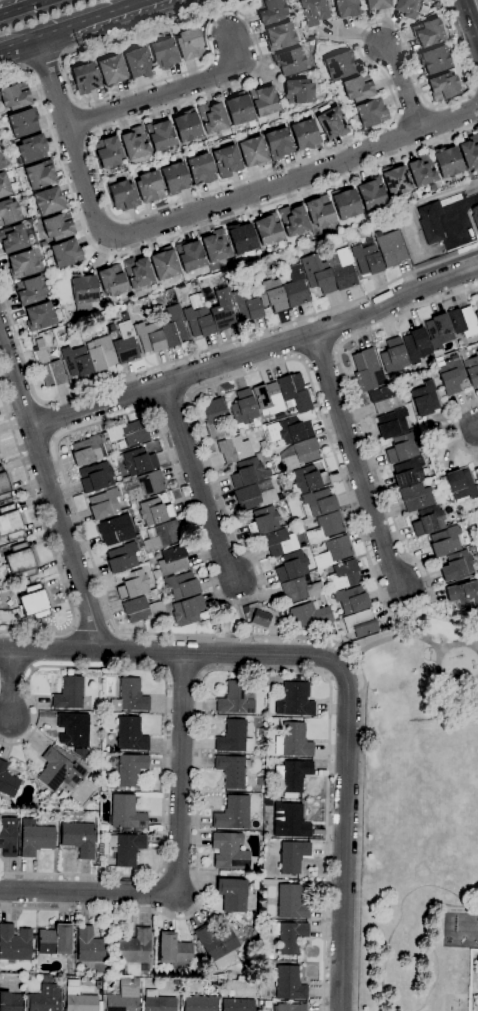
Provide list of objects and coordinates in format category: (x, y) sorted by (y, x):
building: (375, 5)
road: (23, 7)
building: (346, 8)
building: (407, 8)
building: (423, 10)
building: (269, 11)
building: (312, 11)
road: (471, 17)
road: (72, 24)
building: (427, 33)
building: (279, 37)
building: (189, 45)
building: (163, 54)
building: (433, 60)
building: (289, 61)
building: (138, 63)
road: (43, 64)
building: (338, 66)
building: (111, 71)
building: (85, 78)
road: (404, 86)
building: (357, 87)
building: (442, 87)
building: (298, 91)
road: (168, 92)
building: (15, 96)
road: (475, 100)
building: (262, 101)
building: (238, 108)
building: (370, 113)
building: (211, 117)
building: (20, 122)
building: (331, 122)
building: (186, 126)
building: (304, 134)
building: (159, 135)
building: (134, 143)
building: (277, 143)
building: (11, 145)
building: (30, 150)
building: (469, 151)
building: (107, 152)
building: (252, 152)
building: (226, 161)
building: (446, 161)
building: (1, 162)
building: (200, 169)
building: (422, 170)
building: (39, 174)
road: (97, 176)
building: (173, 178)
building: (395, 180)
building: (3, 185)
building: (149, 187)
building: (370, 193)
building: (413, 195)
building: (122, 196)
building: (27, 197)
building: (47, 201)
building: (345, 203)
building: (319, 211)
building: (8, 212)
road: (194, 212)
building: (475, 215)
road: (457, 216)
building: (292, 220)
building: (430, 222)
building: (57, 226)
building: (267, 230)
road: (183, 232)
building: (31, 234)
building: (240, 238)
building: (12, 239)
building: (42, 244)
building: (216, 246)
building: (390, 248)
building: (65, 253)
building: (189, 255)
building: (366, 258)
building: (163, 264)
building: (22, 265)
building: (341, 269)
building: (137, 272)
building: (317, 274)
building: (111, 281)
building: (295, 287)
building: (82, 289)
building: (29, 290)
building: (271, 295)
building: (246, 304)
building: (222, 310)
building: (476, 315)
building: (39, 317)
building: (198, 317)
building: (462, 321)
building: (171, 326)
building: (111, 328)
building: (438, 331)
building: (149, 336)
building: (125, 344)
building: (415, 345)
road: (206, 350)
building: (100, 353)
road: (255, 353)
building: (393, 356)
building: (76, 361)
building: (47, 366)
building: (470, 368)
building: (367, 370)
building: (450, 376)
building: (294, 392)
building: (267, 397)
building: (384, 399)
building: (424, 399)
building: (243, 410)
building: (214, 418)
road: (47, 421)
building: (393, 424)
road: (453, 426)
building: (289, 430)
building: (127, 434)
building: (402, 448)
building: (233, 449)
building: (87, 451)
building: (298, 454)
building: (138, 461)
road: (354, 461)
building: (408, 472)
building: (248, 473)
building: (476, 475)
building: (96, 477)
building: (308, 479)
road: (196, 482)
building: (460, 484)
building: (4, 486)
building: (143, 486)
road: (50, 494)
building: (255, 495)
building: (416, 497)
building: (317, 503)
building: (104, 505)
building: (477, 511)
building: (154, 512)
building: (427, 520)
building: (263, 521)
building: (10, 523)
building: (325, 527)
building: (114, 530)
building: (161, 536)
building: (444, 541)
building: (279, 542)
road: (49, 543)
building: (333, 551)
building: (121, 558)
building: (170, 561)
building: (18, 562)
building: (291, 566)
building: (456, 566)
building: (343, 575)
building: (132, 584)
building: (181, 586)
building: (300, 590)
building: (462, 592)
building: (351, 600)
building: (33, 602)
road: (225, 602)
building: (140, 610)
building: (186, 611)
building: (256, 616)
building: (309, 616)
road: (243, 621)
road: (409, 623)
building: (360, 624)
road: (94, 632)
road: (416, 636)
road: (477, 649)
road: (169, 652)
road: (213, 671)
road: (183, 674)
road: (10, 684)
building: (68, 693)
building: (129, 697)
building: (235, 698)
building: (296, 698)
building: (74, 729)
building: (130, 734)
road: (164, 735)
building: (233, 738)
building: (292, 741)
building: (128, 769)
building: (232, 770)
building: (58, 771)
building: (292, 774)
building: (7, 782)
building: (125, 812)
building: (233, 813)
park: (417, 815)
building: (289, 821)
road: (343, 836)
building: (8, 837)
building: (34, 838)
building: (78, 838)
building: (126, 848)
building: (229, 852)
building: (292, 856)
road: (178, 862)
building: (232, 895)
building: (290, 903)
building: (289, 936)
building: (54, 940)
building: (13, 945)
building: (217, 945)
building: (91, 946)
building: (134, 947)
building: (173, 950)
building: (288, 984)
building: (122, 997)
building: (45, 998)
building: (78, 998)
building: (9, 1002)
building: (157, 1002)
building: (199, 1004)
building: (236, 1005)
building: (99, 1006)
building: (289, 1007)

